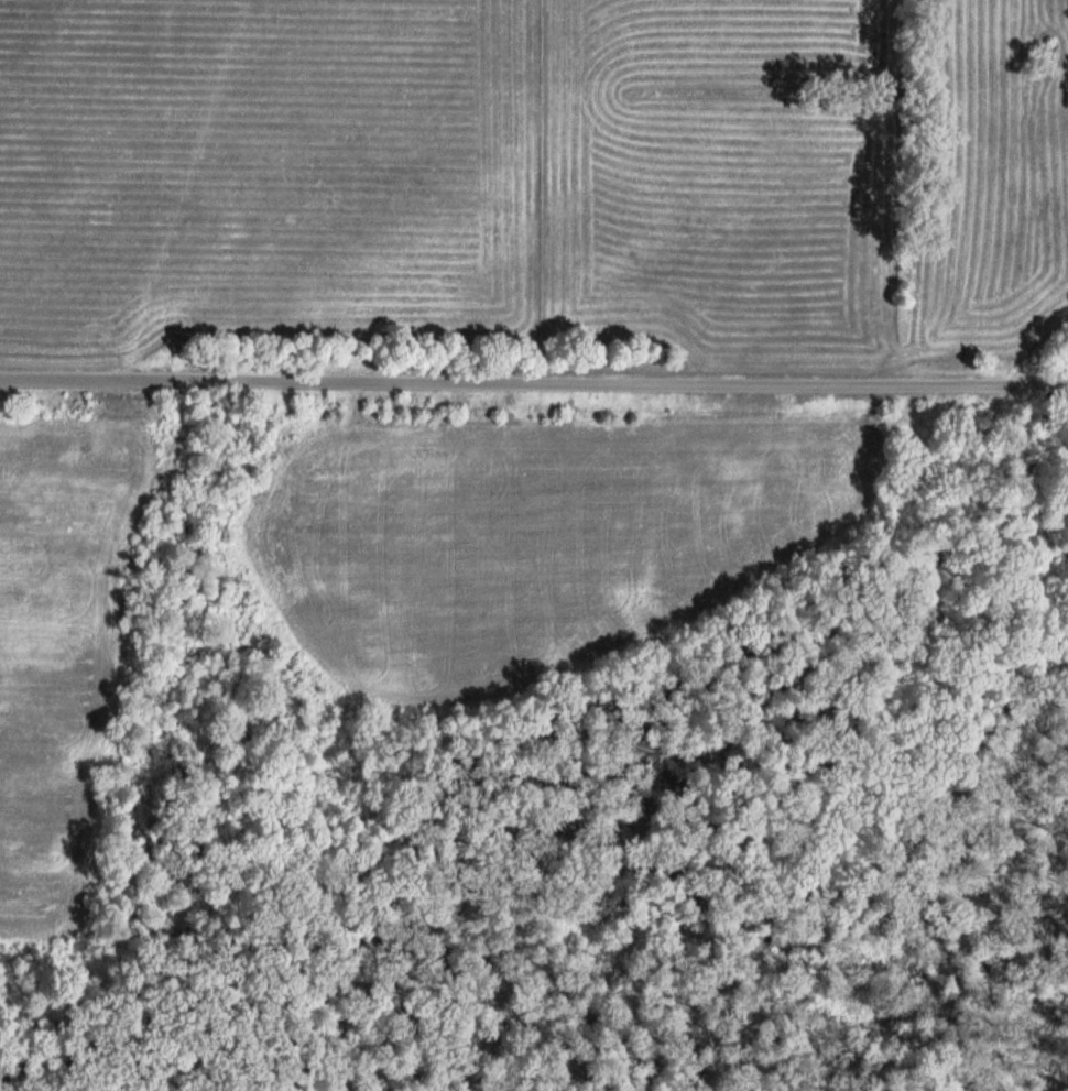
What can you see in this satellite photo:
road: (534, 385)

